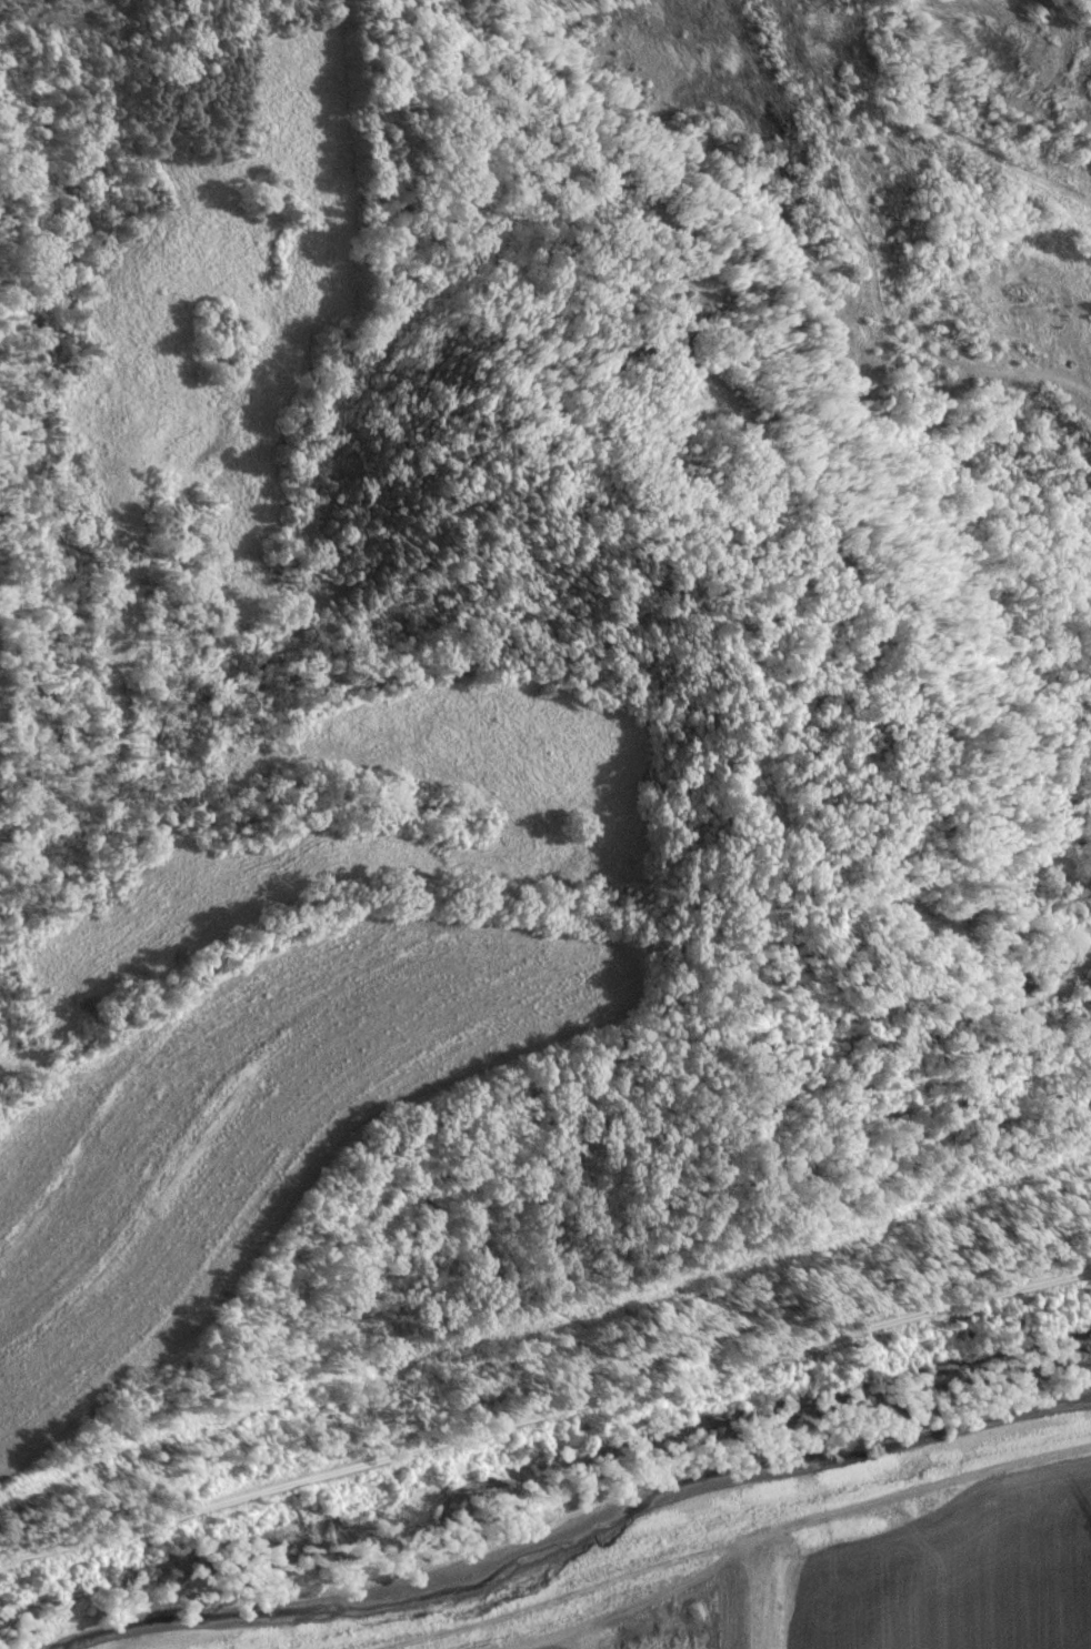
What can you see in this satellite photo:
road: (844, 203)
road: (837, 559)
park: (697, 650)
road: (965, 1014)
road: (780, 1102)
road: (582, 1335)
road: (544, 1414)
road: (754, 1597)

